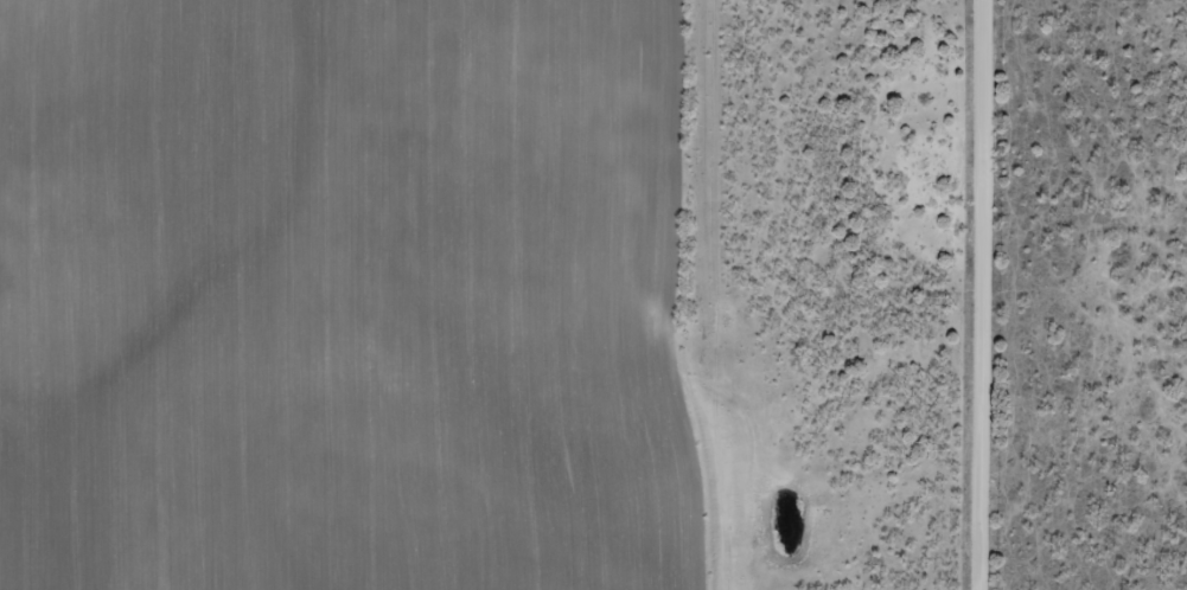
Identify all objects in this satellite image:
road: (989, 295)

